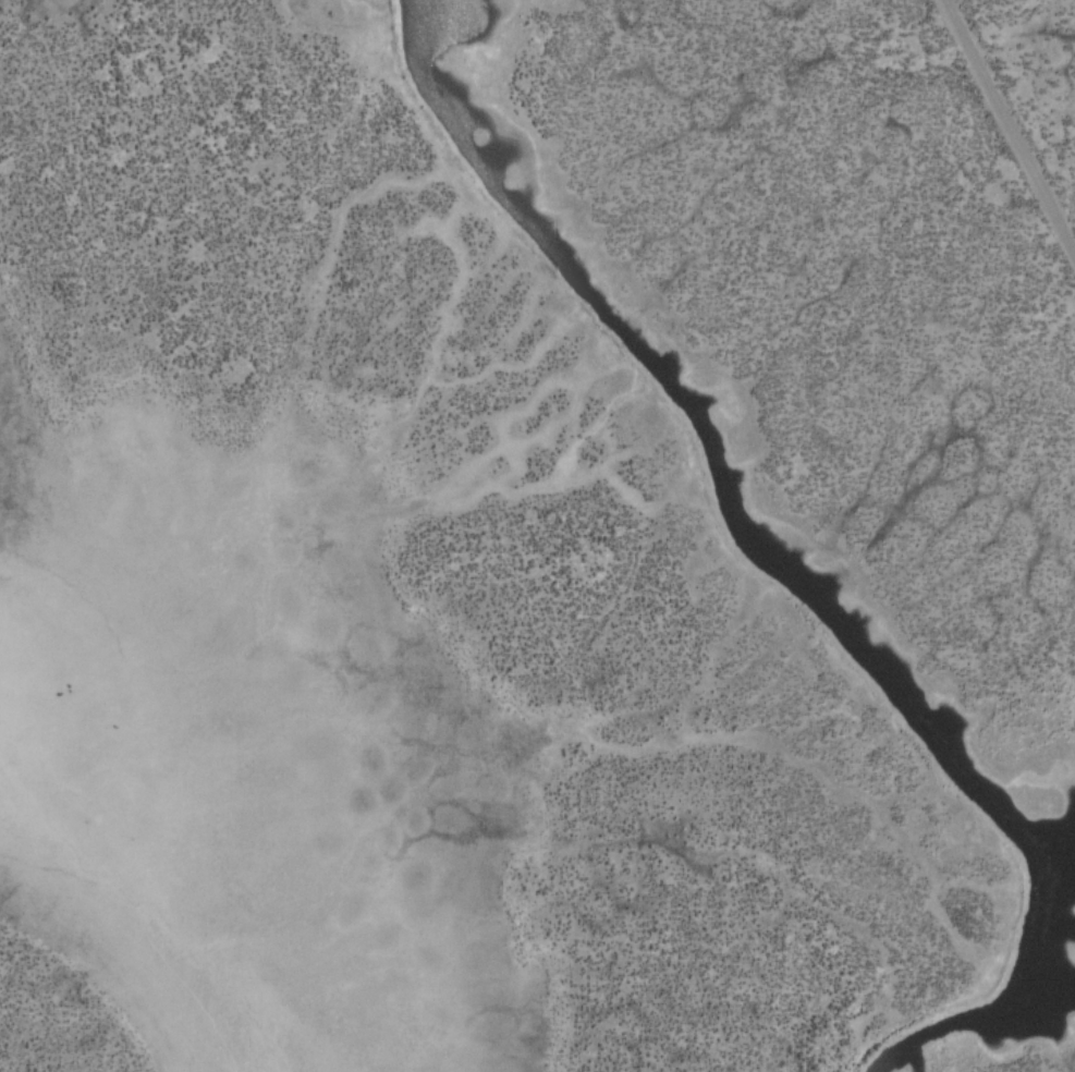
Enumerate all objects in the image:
road: (1010, 126)

